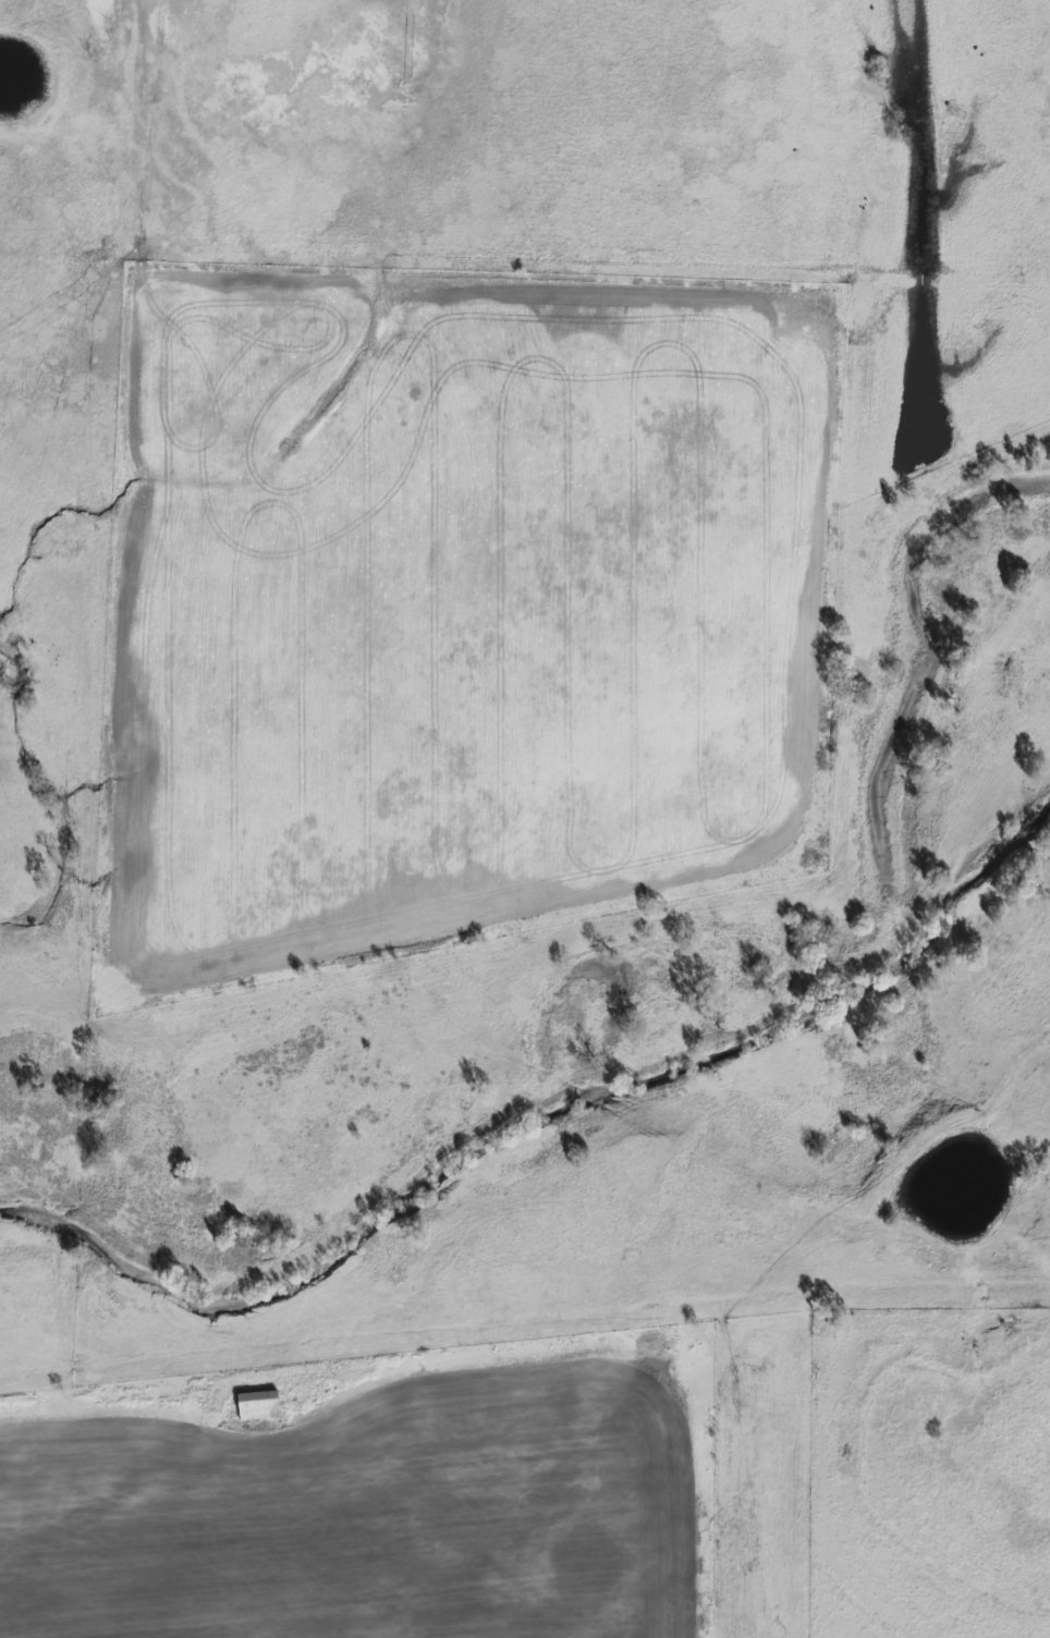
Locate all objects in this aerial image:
building: (255, 1404)

